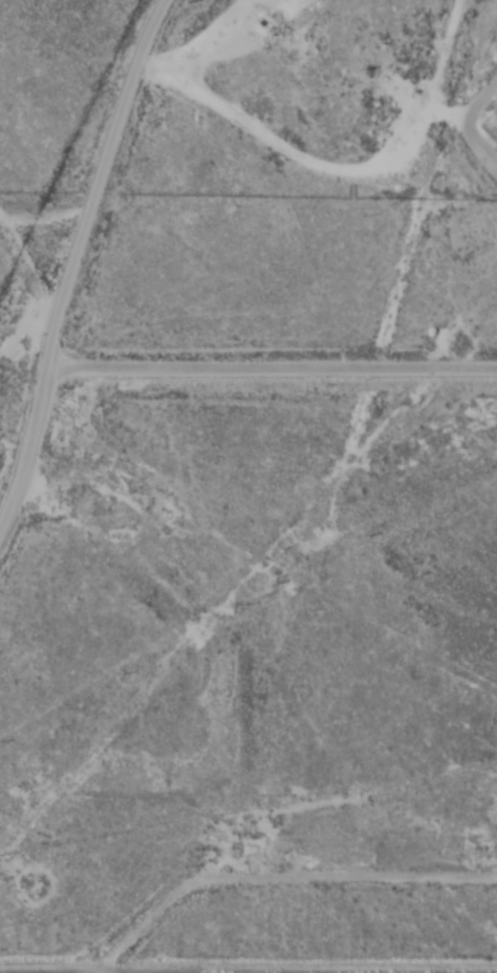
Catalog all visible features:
road: (96, 159)
road: (44, 345)
road: (270, 364)
road: (248, 971)

